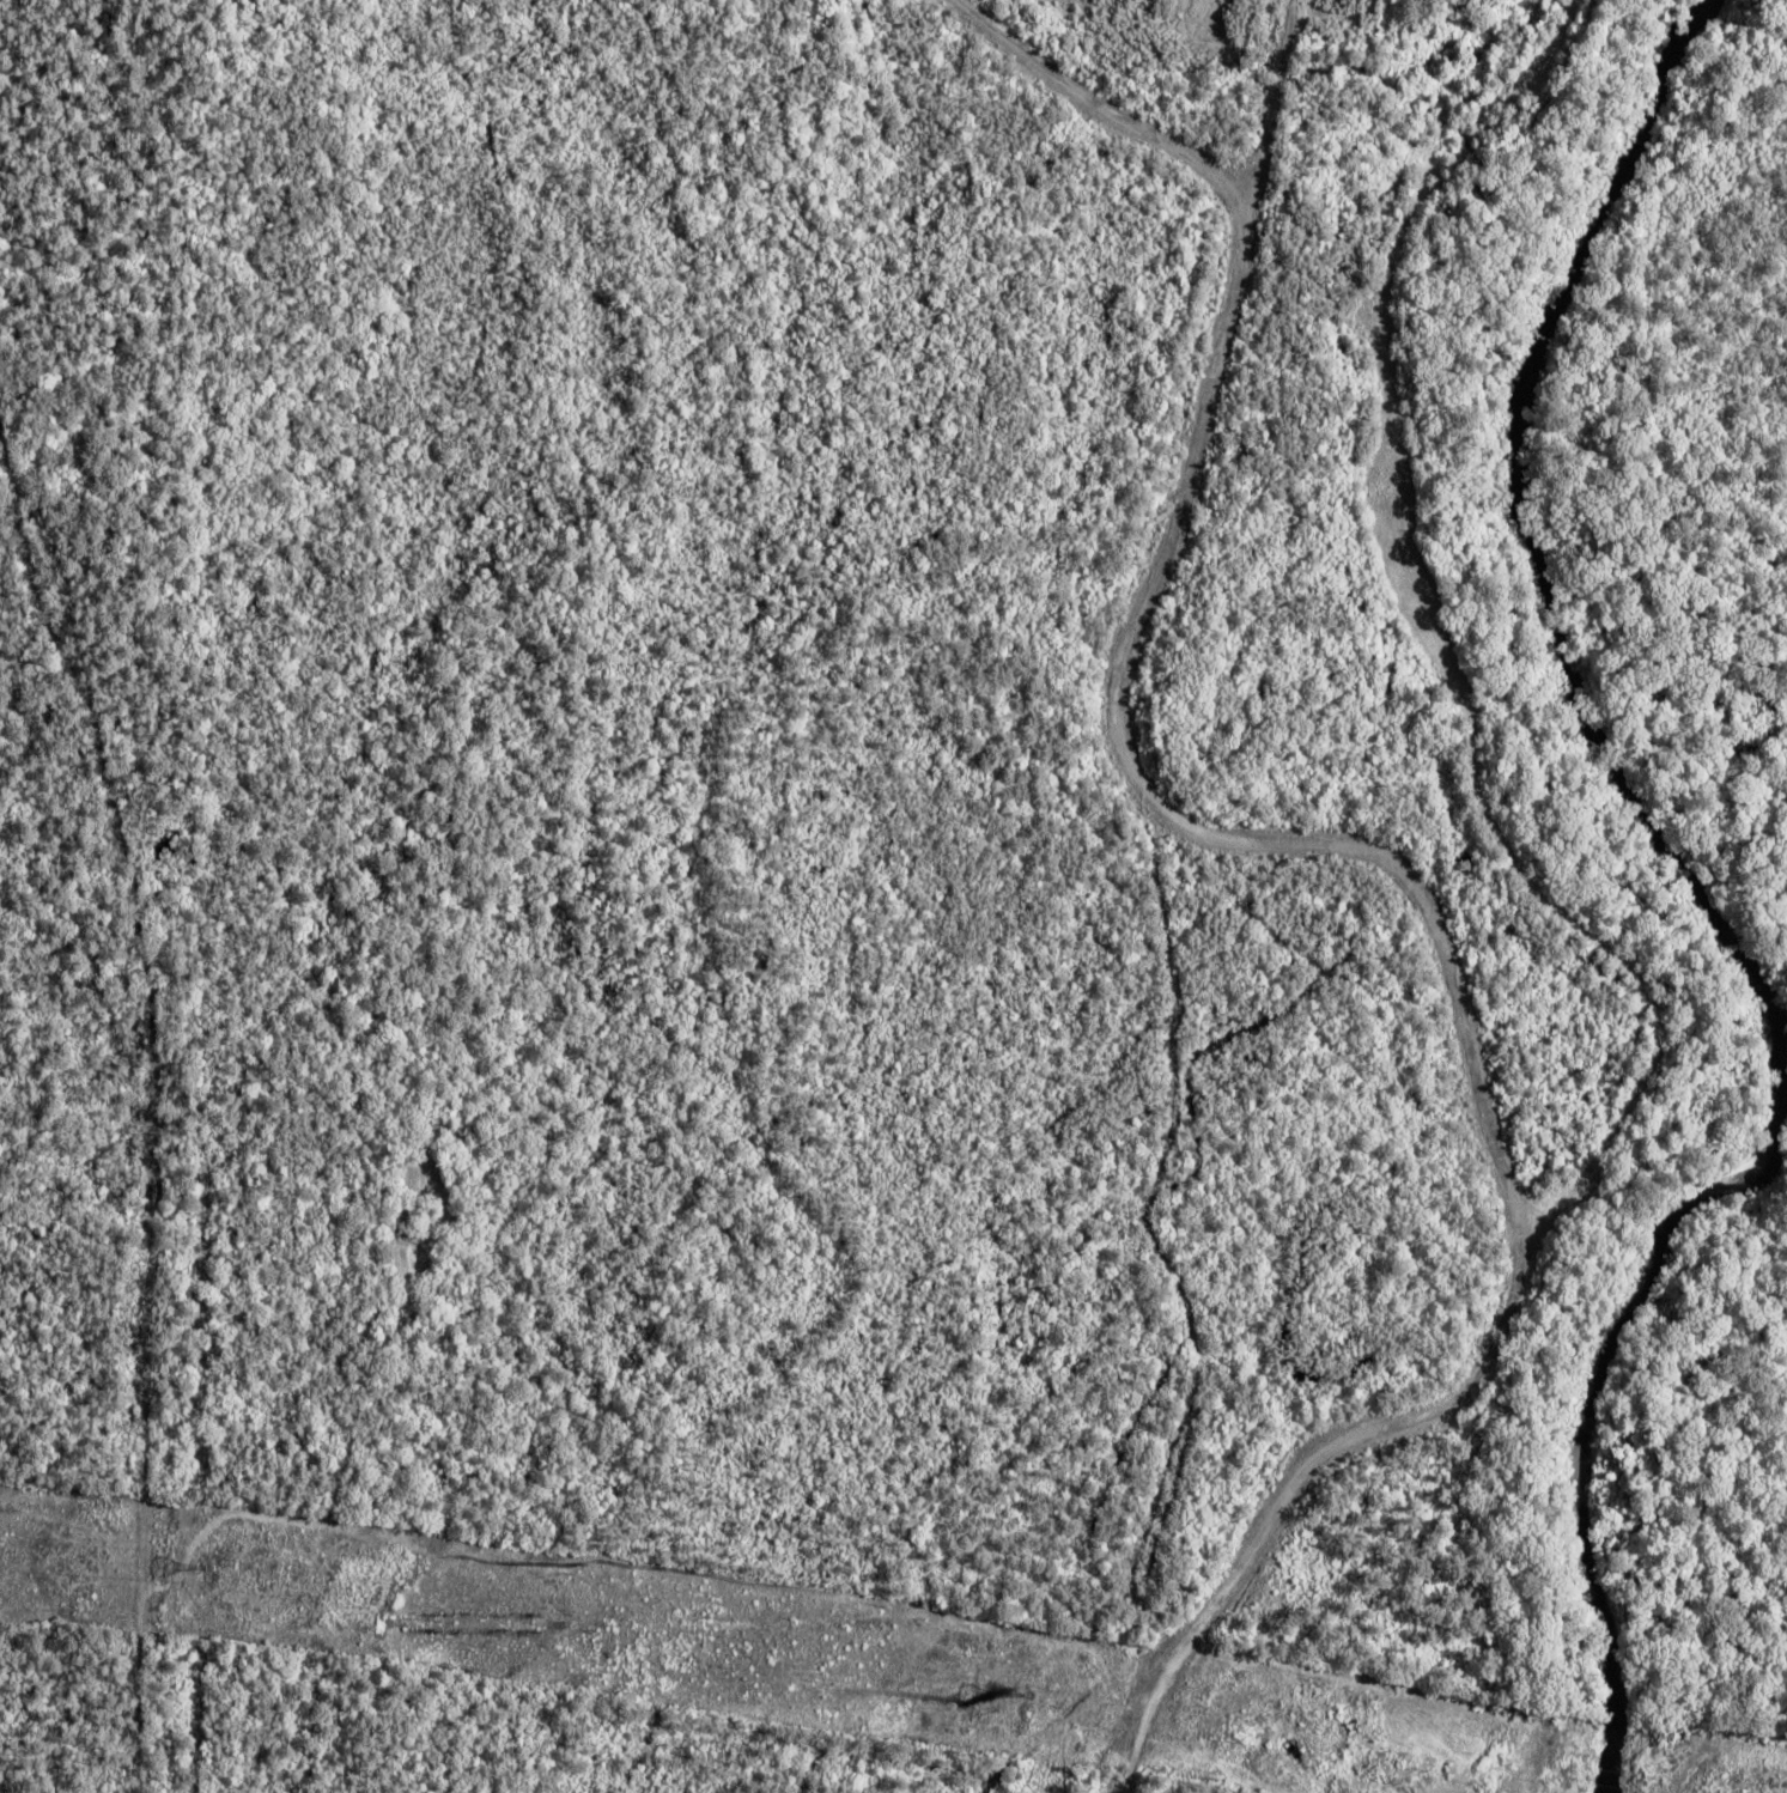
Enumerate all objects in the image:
river: (1524, 528)
road: (1361, 899)
road: (157, 1092)
river: (1590, 1421)
power tower: (211, 1564)
power tower: (232, 1579)
power tower: (1033, 1694)
power tower: (1053, 1704)

